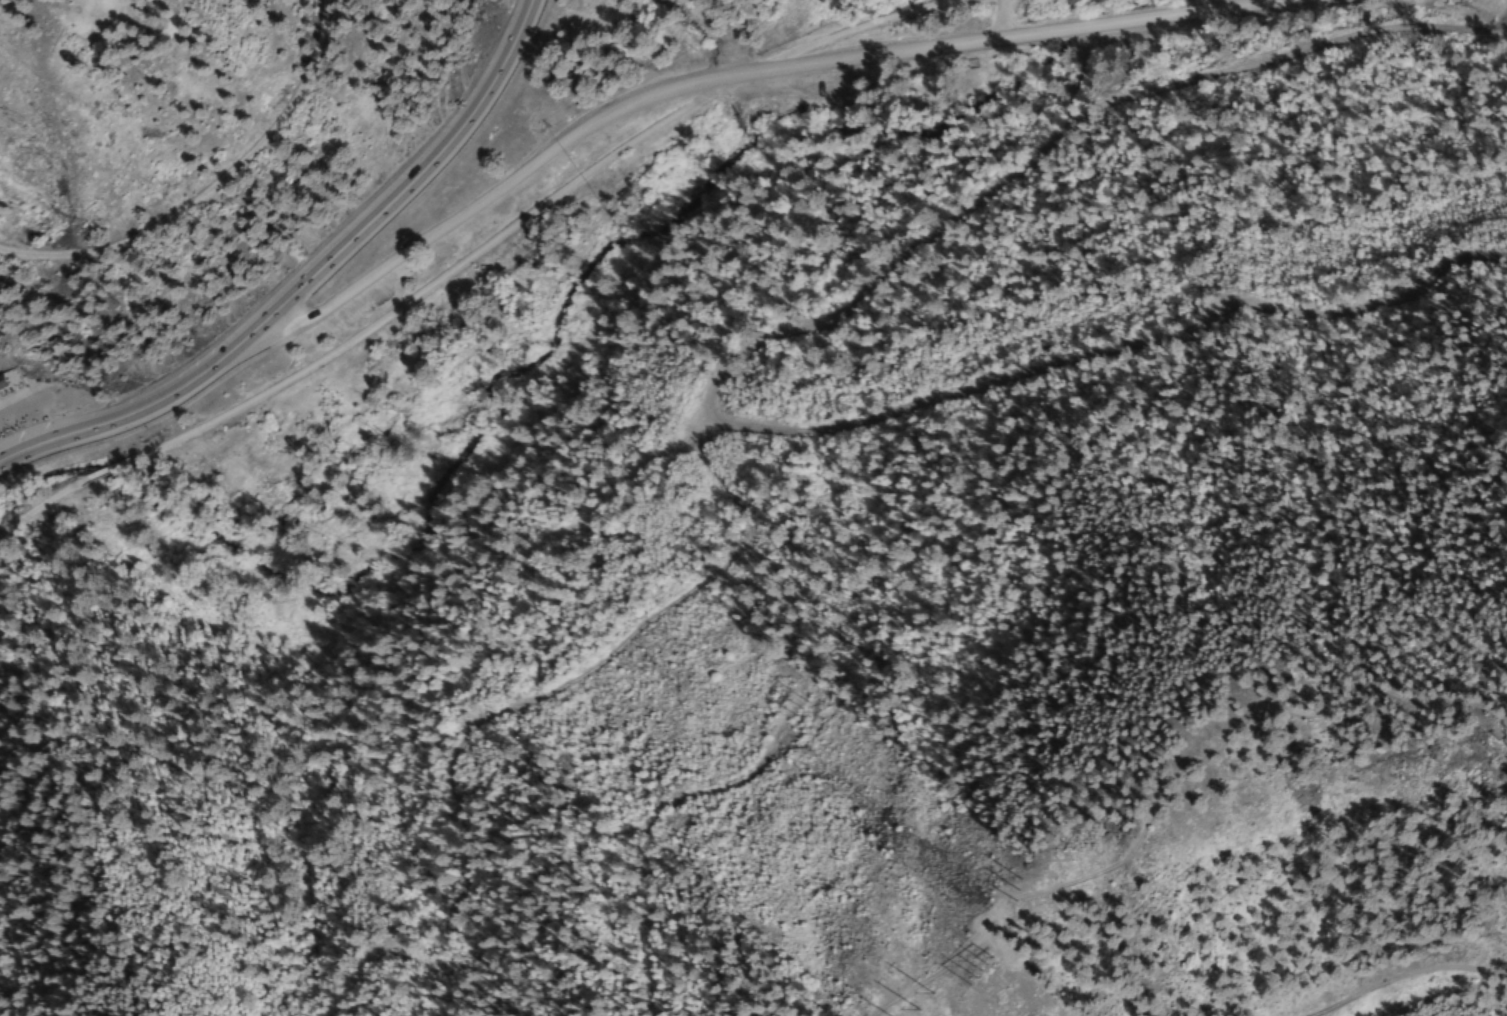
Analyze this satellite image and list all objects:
road: (720, 77)
road: (204, 184)
road: (392, 193)
road: (475, 249)
road: (42, 398)
parking lot: (25, 408)
road: (114, 417)
power tower: (977, 966)
power tower: (915, 1007)

